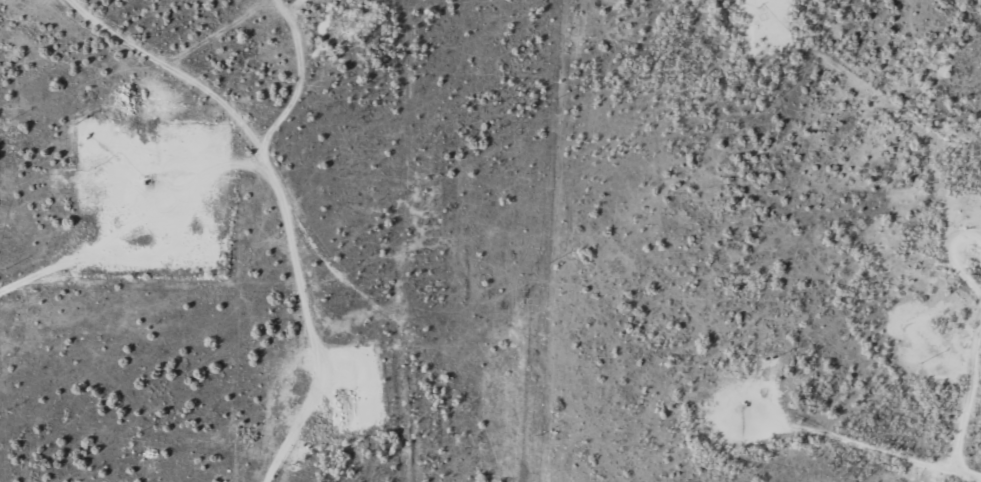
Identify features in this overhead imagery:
road: (285, 211)

